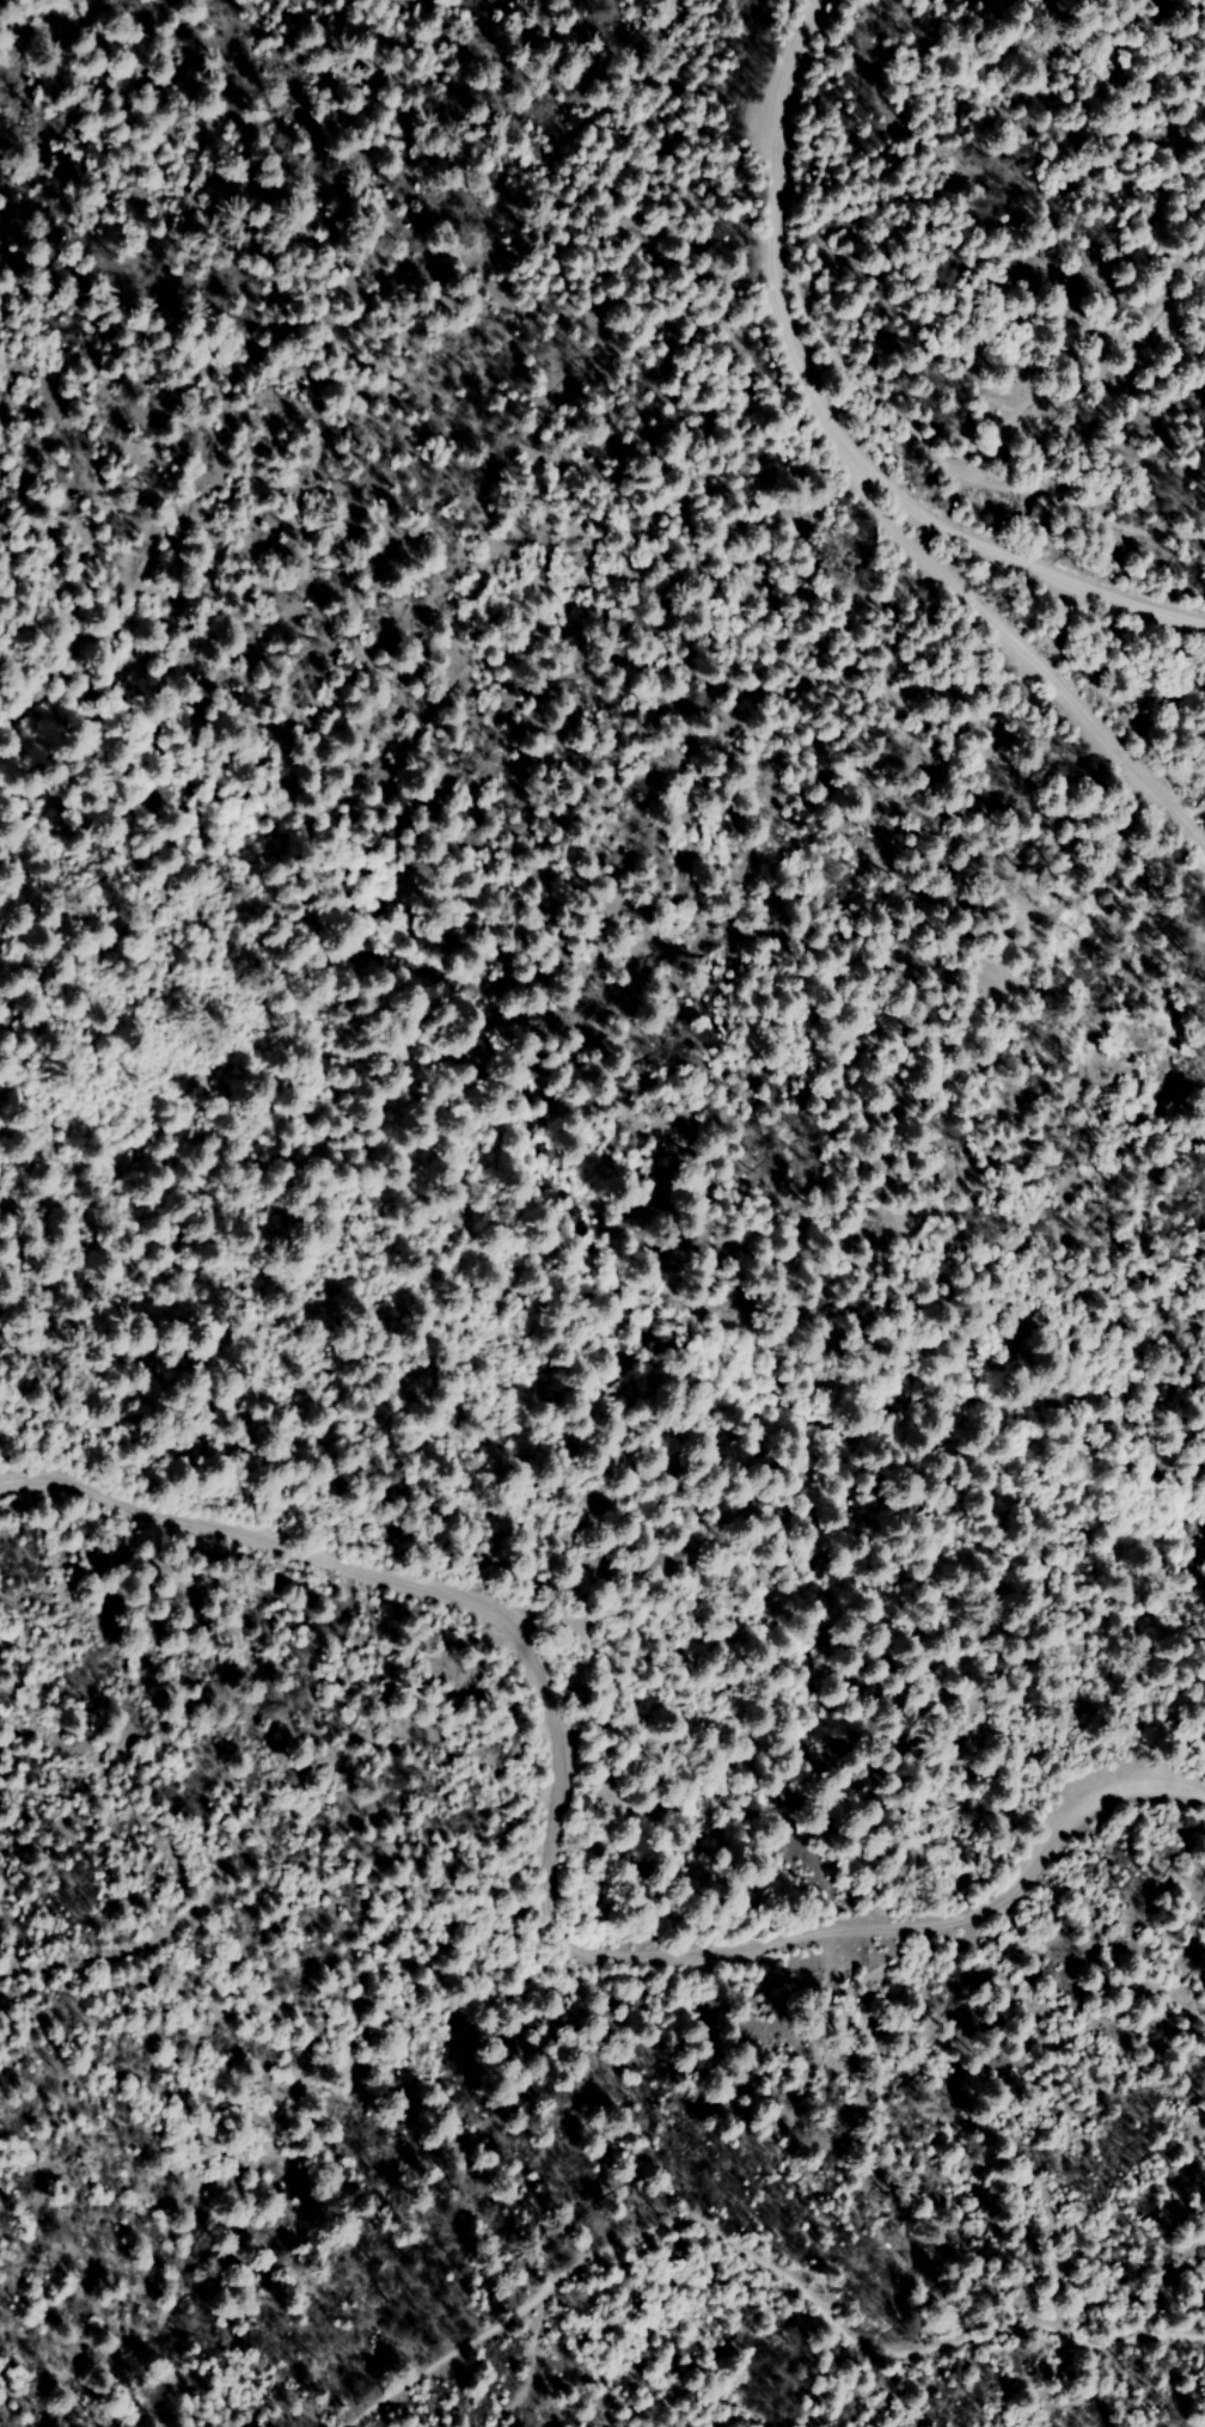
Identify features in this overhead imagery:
road: (777, 240)
road: (1027, 555)
road: (1034, 653)
road: (551, 1863)

